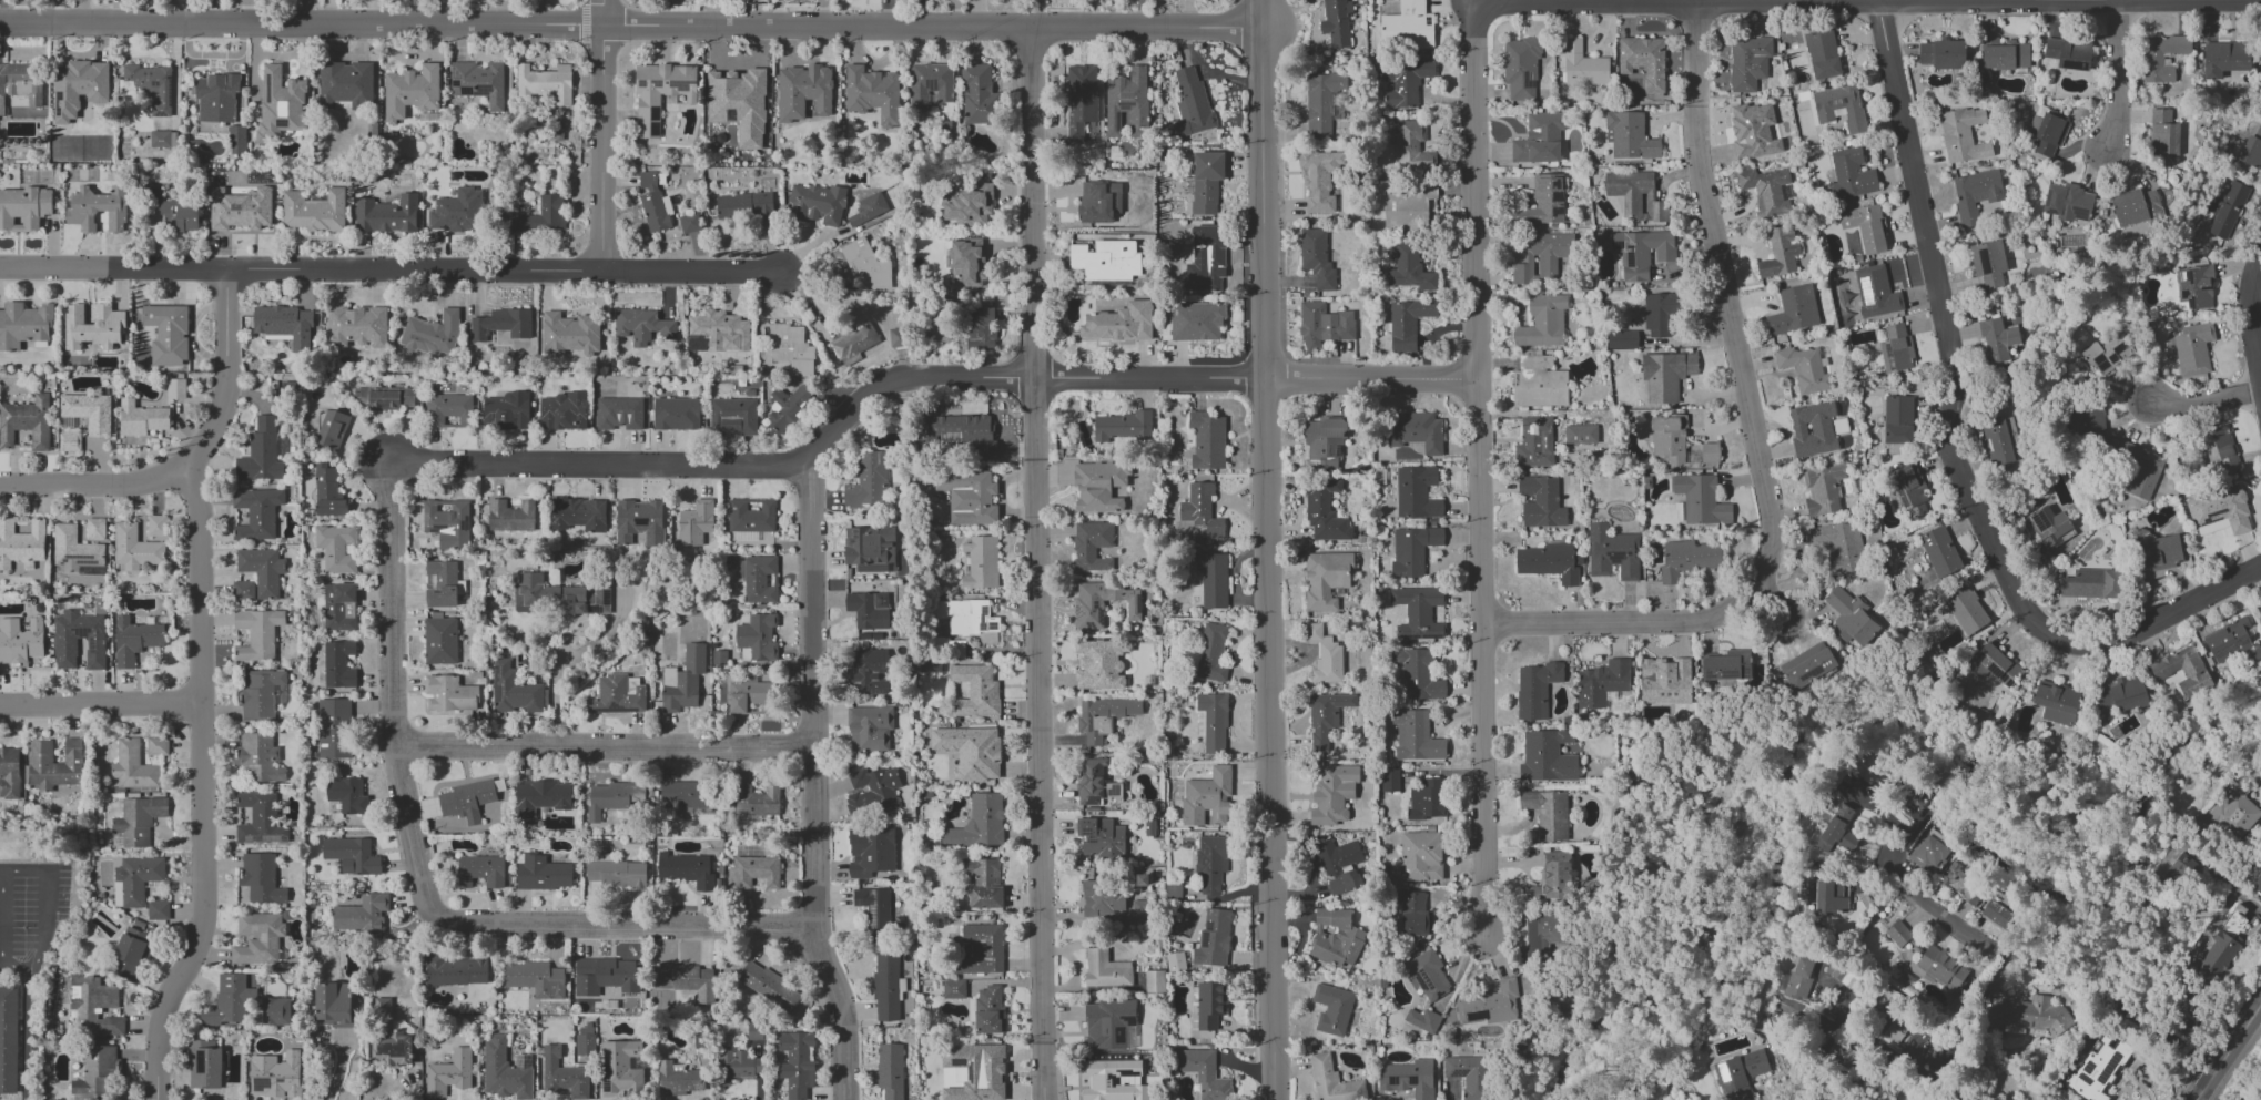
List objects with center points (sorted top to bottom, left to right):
road: (1867, 0)
building: (1336, 23)
building: (1407, 26)
road: (631, 27)
building: (2004, 53)
building: (2068, 53)
building: (1822, 54)
building: (1940, 54)
building: (2160, 58)
building: (2224, 59)
building: (1643, 62)
building: (1747, 62)
building: (1581, 64)
building: (1520, 69)
rooftop solar panel: (456, 74)
road: (2115, 74)
building: (1405, 81)
building: (478, 82)
building: (20, 83)
rooftop solar panel: (653, 83)
rooftop solar panel: (1528, 83)
building: (545, 84)
rooftop solar panel: (677, 84)
rooftop solar panel: (930, 84)
building: (149, 85)
rooftop solar panel: (639, 85)
building: (931, 86)
building: (78, 88)
rooftop solar panel: (480, 90)
building: (803, 91)
rooftop solar panel: (170, 92)
building: (410, 92)
building: (660, 93)
building: (872, 93)
building: (977, 95)
building: (215, 98)
building: (1125, 98)
building: (1081, 99)
building: (1190, 102)
building: (1321, 102)
building: (280, 103)
building: (739, 103)
rooftop solar panel: (1837, 103)
rooftop solar panel: (1819, 106)
building: (1839, 106)
rooftop solar panel: (652, 113)
rooftop solar panel: (652, 130)
building: (1754, 130)
building: (2046, 133)
building: (2162, 134)
building: (1963, 135)
building: (1629, 136)
road: (600, 137)
building: (159, 139)
building: (1539, 139)
building: (236, 140)
building: (1409, 149)
building: (2251, 150)
building: (1849, 175)
building: (1319, 180)
building: (1206, 182)
rooftop solar panel: (1555, 184)
building: (1765, 190)
building: (1975, 194)
building: (1634, 195)
rooftop solar panel: (1557, 197)
building: (1098, 202)
building: (1542, 202)
building: (2067, 202)
building: (653, 203)
building: (815, 204)
building: (743, 205)
building: (969, 205)
building: (2135, 206)
building: (23, 208)
building: (97, 208)
building: (240, 208)
building: (868, 208)
building: (1407, 208)
building: (2225, 210)
building: (314, 211)
rooftop solar panel: (1555, 211)
building: (458, 212)
building: (386, 214)
building: (541, 216)
building: (688, 223)
building: (1864, 227)
rooftop solar panel: (1616, 245)
building: (1641, 252)
building: (1778, 253)
building: (1541, 257)
building: (1316, 258)
building: (1205, 259)
building: (1106, 261)
building: (965, 262)
building: (1988, 263)
building: (864, 265)
building: (1409, 269)
road: (388, 274)
building: (2194, 286)
rooftop solar panel: (2206, 289)
building: (1875, 292)
rooftop solar panel: (1867, 293)
rooftop solar panel: (2183, 295)
building: (1793, 308)
building: (1657, 315)
building: (1195, 322)
building: (1542, 322)
building: (1119, 323)
building: (1407, 323)
building: (500, 324)
road: (2251, 324)
building: (24, 325)
building: (284, 325)
building: (1322, 325)
building: (92, 326)
building: (356, 326)
building: (641, 326)
building: (981, 328)
building: (717, 332)
building: (430, 333)
building: (166, 334)
building: (569, 334)
building: (898, 337)
building: (1621, 339)
building: (1997, 339)
rooftop solar panel: (699, 343)
building: (853, 344)
building: (1895, 348)
rooftop solar panel: (692, 349)
building: (788, 349)
building: (2192, 349)
building: (2107, 353)
rooftop solar panel: (1892, 358)
rooftop solar panel: (2100, 363)
building: (1804, 369)
building: (1665, 375)
road: (915, 376)
road: (229, 378)
building: (1538, 383)
building: (175, 389)
building: (384, 398)
road: (2204, 401)
building: (785, 408)
building: (88, 410)
building: (448, 410)
building: (506, 411)
building: (564, 411)
building: (618, 414)
building: (676, 414)
building: (732, 417)
building: (141, 418)
building: (1897, 419)
building: (2085, 420)
building: (27, 422)
rooftop solar panel: (1841, 426)
building: (1121, 428)
building: (332, 429)
building: (1812, 429)
building: (1415, 430)
building: (1580, 434)
building: (959, 435)
road: (1754, 436)
building: (1669, 438)
building: (1207, 440)
building: (1999, 440)
building: (69, 441)
building: (1324, 441)
building: (1534, 442)
rooftop solar panel: (1988, 444)
road: (1945, 448)
building: (2219, 450)
building: (260, 452)
building: (1709, 452)
building: (2138, 470)
road: (1479, 472)
building: (868, 482)
road: (92, 486)
building: (1098, 487)
building: (1825, 488)
building: (1909, 490)
building: (327, 492)
building: (1416, 492)
building: (967, 496)
rooftop solar panel: (1905, 497)
building: (1701, 500)
building: (1540, 501)
building: (1200, 510)
building: (1324, 512)
rooftop solar panel: (1912, 512)
building: (2219, 512)
building: (256, 513)
building: (576, 515)
building: (750, 515)
building: (510, 516)
building: (639, 521)
building: (447, 522)
rooftop solar panel: (2039, 522)
building: (694, 523)
building: (155, 526)
building: (2049, 528)
building: (94, 529)
building: (743, 536)
building: (21, 543)
building: (1091, 546)
building: (1838, 547)
building: (134, 548)
building: (334, 548)
building: (870, 549)
building: (1412, 549)
building: (74, 550)
road: (1268, 550)
building: (1938, 551)
building: (1612, 552)
building: (2159, 553)
rooftop solar panel: (78, 557)
rooftop solar panel: (1618, 559)
building: (1686, 559)
rooftop solar panel: (64, 560)
rooftop solar panel: (85, 562)
building: (981, 562)
building: (1549, 562)
rooftop solar panel: (60, 563)
road: (1036, 564)
rooftop solar panel: (871, 570)
building: (258, 573)
building: (758, 579)
building: (1211, 579)
building: (1326, 579)
building: (440, 583)
building: (2090, 584)
road: (197, 585)
building: (557, 598)
rooftop solar panel: (606, 598)
rooftop solar panel: (1137, 603)
rooftop solar panel: (1096, 604)
building: (339, 607)
rooftop solar panel: (594, 609)
building: (1964, 609)
building: (2260, 609)
building: (868, 610)
rooftop solar panel: (984, 610)
building: (1087, 610)
rooftop solar panel: (1079, 611)
building: (1418, 612)
rooftop solar panel: (1101, 614)
building: (966, 617)
building: (1851, 620)
rooftop solar panel: (983, 624)
rooftop solar panel: (991, 627)
rooftop solar panel: (1089, 627)
building: (257, 633)
rooftop solar panel: (1417, 636)
rooftop solar panel: (1428, 636)
building: (757, 638)
building: (134, 640)
building: (439, 640)
building: (20, 641)
building: (2228, 641)
building: (64, 653)
building: (1210, 653)
building: (1325, 656)
rooftop solar panel: (1984, 659)
road: (566, 661)
building: (338, 664)
building: (1099, 664)
building: (1726, 665)
building: (1807, 665)
building: (1994, 665)
building: (2182, 670)
building: (868, 673)
rooftop solar panel: (1998, 673)
building: (1417, 674)
rooftop solar panel: (2011, 680)
building: (682, 681)
building: (1665, 681)
building: (1601, 683)
building: (1535, 689)
building: (513, 691)
building: (975, 691)
building: (262, 694)
building: (448, 694)
building: (617, 694)
building: (2121, 694)
building: (749, 696)
building: (2056, 702)
road: (100, 704)
building: (1103, 716)
building: (1325, 716)
building: (1211, 722)
building: (334, 729)
building: (869, 729)
building: (1415, 736)
building: (156, 745)
road: (602, 746)
building: (970, 751)
building: (1547, 756)
building: (258, 757)
building: (54, 764)
building: (133, 766)
building: (9, 773)
building: (1390, 780)
road: (813, 781)
building: (1089, 782)
rooftop solar panel: (1114, 791)
building: (871, 792)
building: (686, 794)
building: (1332, 794)
building: (346, 795)
building: (540, 797)
building: (470, 798)
building: (614, 798)
building: (1207, 798)
rooftop solar panel: (1091, 799)
building: (1427, 799)
building: (1907, 801)
building: (754, 802)
building: (1547, 813)
building: (2234, 815)
building: (260, 819)
building: (138, 821)
building: (977, 823)
building: (1836, 833)
rooftop solar panel: (270, 838)
building: (1102, 839)
rooftop solar panel: (249, 841)
building: (870, 852)
building: (1930, 853)
building: (352, 855)
building: (1420, 856)
building: (1210, 863)
building: (1340, 865)
building: (686, 869)
building: (480, 870)
building: (756, 873)
building: (543, 874)
building: (617, 874)
road: (2235, 877)
building: (260, 878)
building: (134, 880)
building: (1551, 880)
road: (422, 883)
building: (982, 883)
building: (1960, 883)
building: (2257, 884)
building: (1103, 897)
building: (1831, 897)
rooftop solar panel: (859, 902)
road: (47, 906)
road: (203, 907)
parking lot: (36, 910)
building: (156, 910)
building: (874, 910)
building: (1137, 911)
rooftop solar panel: (872, 913)
building: (361, 914)
building: (1413, 914)
building: (1997, 915)
rooftop solar panel: (1205, 927)
building: (1541, 927)
building: (1897, 935)
building: (1335, 937)
building: (257, 938)
building: (1213, 938)
rooftop solar panel: (1202, 940)
building: (2220, 946)
building: (981, 949)
building: (130, 954)
building: (1175, 961)
building: (1941, 968)
building: (1105, 969)
building: (457, 970)
road: (17, 972)
building: (1427, 975)
building: (605, 976)
building: (535, 978)
road: (2048, 978)
building: (1796, 979)
building: (685, 980)
building: (1154, 981)
building: (769, 986)
building: (885, 986)
building: (953, 989)
building: (229, 1001)
building: (333, 1004)
building: (1208, 1005)
building: (1490, 1005)
building: (93, 1006)
building: (1331, 1009)
building: (987, 1010)
building: (275, 1011)
rooftop solar panel: (1477, 1016)
building: (2030, 1017)
building: (1422, 1019)
building: (1108, 1023)
building: (1894, 1031)
building: (388, 1038)
building: (8, 1039)
road: (28, 1042)
building: (1842, 1055)
building: (550, 1056)
road: (2230, 1056)
rooftop solar panel: (524, 1061)
rooftop solar panel: (959, 1061)
rooftop solar panel: (201, 1063)
building: (795, 1063)
building: (205, 1065)
building: (734, 1066)
road: (338, 1067)
building: (2097, 1067)
rooftop solar panel: (2091, 1068)
rooftop solar panel: (2110, 1068)
building: (620, 1069)
building: (94, 1070)
building: (505, 1070)
building: (889, 1070)
building: (973, 1071)
rooftop solar panel: (1722, 1072)
building: (448, 1073)
rooftop solar panel: (607, 1073)
rooftop solar panel: (972, 1073)
rooftop solar panel: (1457, 1073)
building: (1738, 1073)
building: (1204, 1074)
building: (1467, 1074)
building: (275, 1076)
building: (1408, 1078)
building: (677, 1080)
building: (1111, 1080)
road: (1937, 1080)
rooftop solar panel: (2087, 1080)
building: (1332, 1081)
rooftop solar panel: (261, 1083)
rooftop solar panel: (606, 1089)

